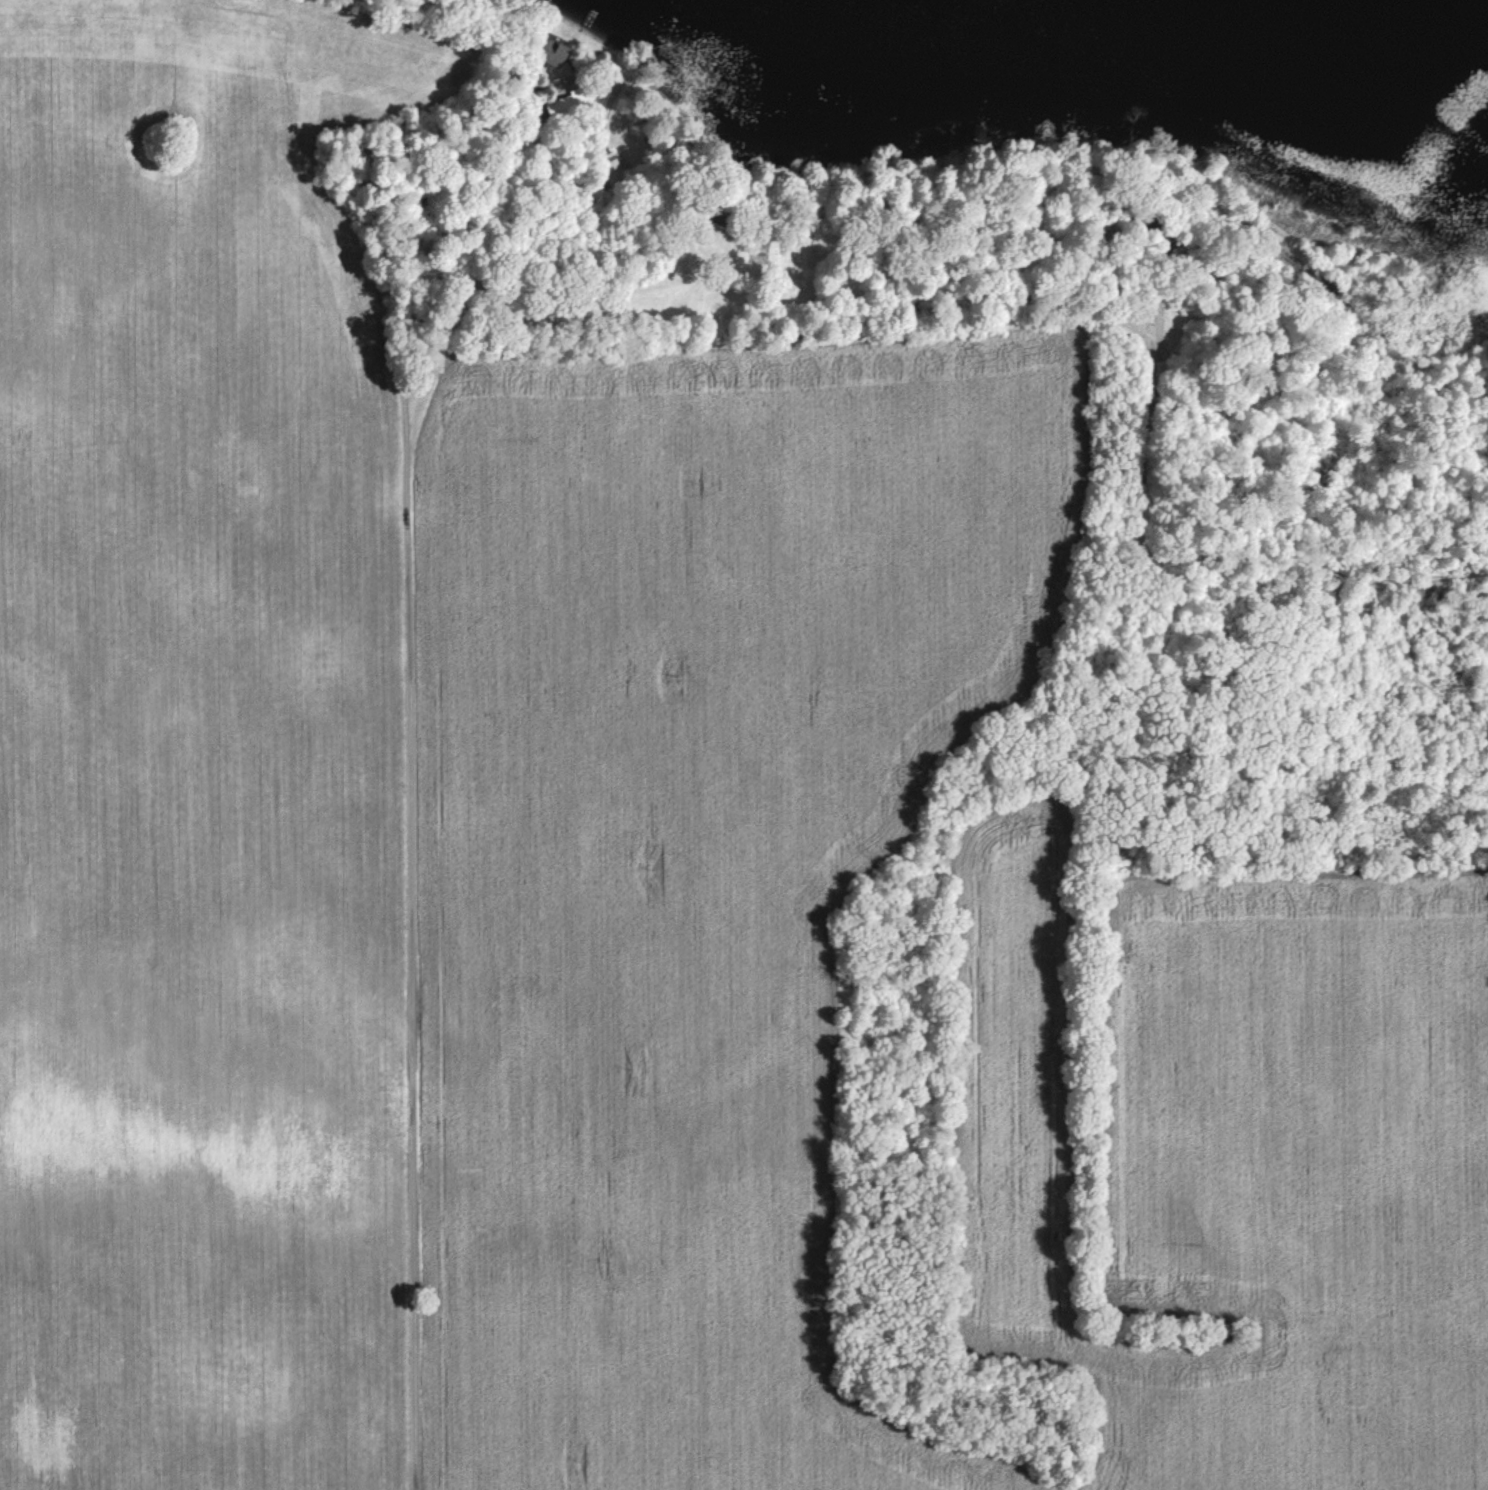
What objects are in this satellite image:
building: (550, 52)
building: (565, 104)
building: (610, 168)
building: (724, 209)
building: (759, 253)
road: (531, 292)
road: (425, 754)

